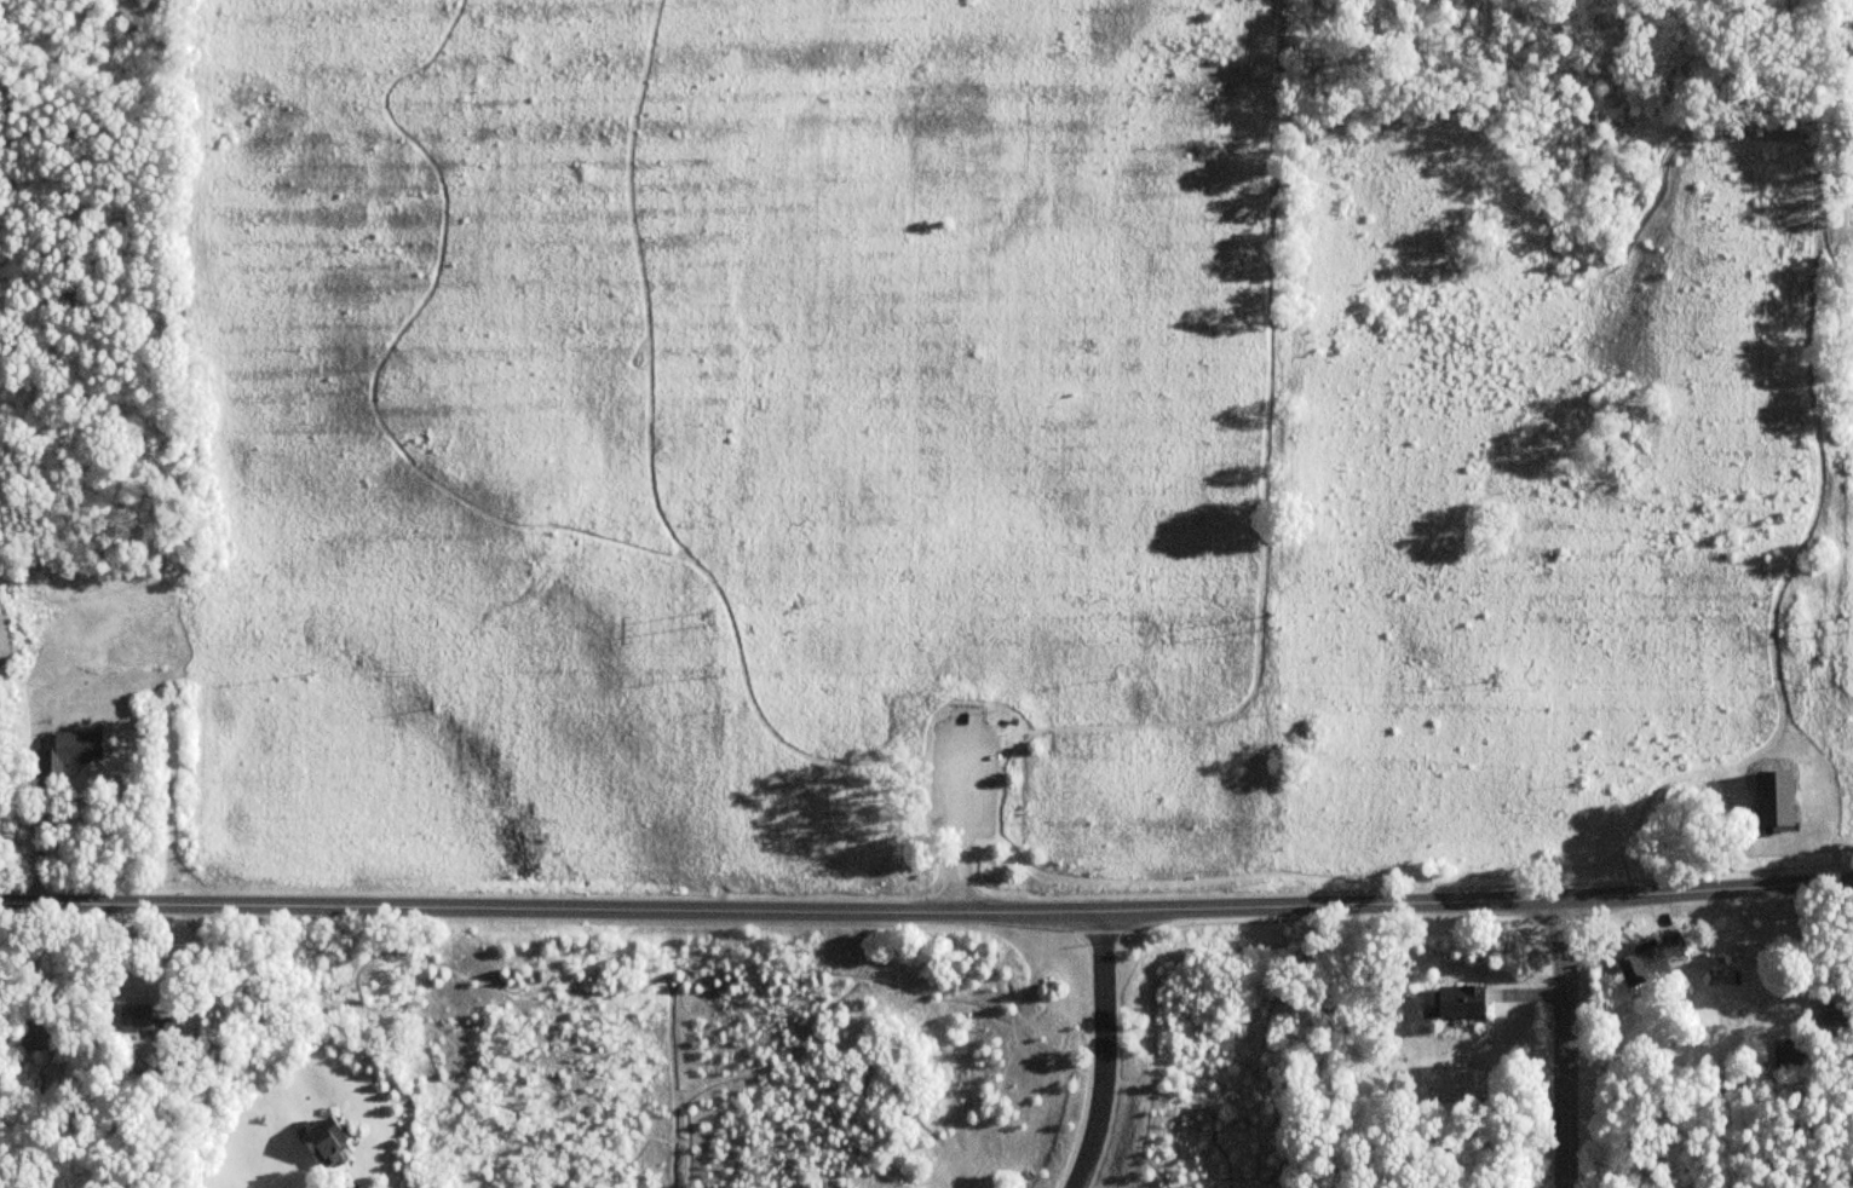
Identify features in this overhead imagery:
road: (1845, 56)
road: (1836, 126)
road: (1526, 190)
park: (1014, 437)
power tower: (708, 611)
power tower: (1829, 613)
power tower: (1281, 617)
building: (70, 750)
parking lot: (965, 769)
road: (1676, 780)
building: (1774, 801)
road: (962, 814)
road: (926, 911)
building: (1650, 959)
building: (1452, 1003)
building: (1834, 1015)
building: (138, 1020)
building: (168, 1027)
building: (39, 1033)
road: (1566, 1043)
road: (1106, 1053)
building: (327, 1141)

